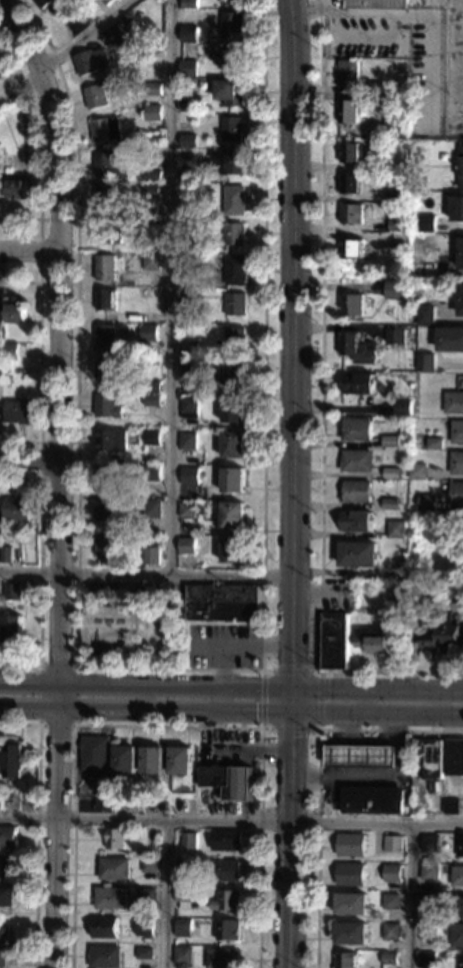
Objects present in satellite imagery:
building: (104, 1)
building: (188, 3)
building: (376, 4)
building: (56, 8)
road: (416, 12)
building: (83, 17)
building: (119, 23)
building: (233, 24)
building: (124, 28)
building: (113, 32)
building: (187, 33)
road: (383, 40)
building: (122, 42)
road: (62, 50)
building: (234, 56)
building: (90, 60)
building: (188, 68)
building: (1, 69)
building: (350, 74)
building: (0, 75)
building: (378, 87)
building: (153, 88)
building: (231, 92)
building: (95, 96)
parking lot: (426, 97)
building: (191, 105)
building: (395, 111)
building: (152, 112)
building: (350, 112)
building: (232, 128)
building: (105, 129)
building: (188, 140)
road: (39, 144)
building: (351, 152)
building: (228, 161)
building: (376, 162)
building: (108, 165)
building: (461, 167)
building: (153, 176)
building: (189, 176)
building: (351, 182)
building: (16, 188)
building: (151, 189)
building: (397, 194)
building: (106, 196)
building: (234, 200)
building: (401, 206)
building: (189, 207)
building: (458, 209)
building: (352, 213)
building: (396, 220)
building: (427, 223)
building: (189, 226)
building: (152, 227)
building: (108, 230)
building: (233, 234)
building: (352, 249)
road: (30, 251)
road: (40, 251)
building: (461, 253)
building: (151, 261)
building: (187, 261)
building: (105, 267)
building: (234, 270)
building: (184, 281)
road: (171, 288)
building: (393, 289)
building: (186, 297)
building: (105, 299)
building: (460, 300)
building: (234, 304)
building: (351, 304)
building: (15, 313)
building: (191, 314)
building: (424, 315)
building: (148, 332)
building: (394, 336)
building: (105, 337)
building: (235, 337)
building: (450, 339)
building: (355, 348)
building: (11, 349)
building: (0, 350)
building: (188, 350)
road: (293, 354)
road: (39, 361)
building: (425, 362)
building: (105, 368)
building: (188, 370)
building: (1, 373)
building: (233, 374)
building: (7, 379)
building: (358, 383)
building: (151, 386)
building: (152, 400)
building: (453, 402)
building: (106, 406)
building: (189, 407)
building: (402, 407)
road: (319, 408)
building: (233, 410)
building: (18, 411)
building: (356, 429)
building: (457, 431)
building: (151, 437)
building: (110, 440)
building: (187, 440)
building: (390, 441)
building: (434, 443)
building: (233, 445)
road: (29, 460)
road: (39, 460)
building: (356, 461)
building: (456, 462)
building: (417, 471)
building: (152, 472)
building: (391, 473)
building: (189, 476)
road: (59, 477)
building: (106, 477)
building: (233, 480)
building: (356, 491)
building: (456, 493)
building: (427, 503)
building: (390, 504)
building: (16, 508)
building: (199, 508)
building: (147, 509)
building: (107, 510)
building: (187, 510)
building: (233, 515)
building: (356, 521)
building: (396, 529)
building: (104, 544)
building: (187, 546)
building: (232, 550)
building: (5, 553)
building: (358, 554)
building: (151, 555)
building: (25, 561)
road: (40, 573)
road: (146, 575)
building: (12, 592)
building: (397, 599)
building: (223, 602)
building: (107, 626)
building: (12, 629)
building: (441, 635)
building: (371, 640)
building: (334, 641)
traffic signals: (292, 664)
road: (164, 668)
road: (145, 688)
traffic signals: (327, 691)
road: (377, 691)
road: (146, 705)
traffic signals: (255, 707)
road: (377, 711)
road: (74, 725)
road: (167, 726)
road: (342, 727)
road: (317, 729)
traffic signals: (292, 737)
building: (95, 753)
building: (362, 755)
road: (343, 756)
building: (454, 757)
building: (125, 759)
building: (430, 759)
building: (153, 760)
building: (180, 760)
building: (13, 762)
road: (344, 772)
road: (379, 775)
building: (215, 776)
road: (318, 776)
building: (373, 800)
building: (0, 805)
building: (450, 806)
road: (231, 821)
road: (36, 827)
building: (8, 836)
road: (290, 838)
building: (115, 839)
building: (188, 840)
building: (225, 841)
building: (392, 843)
building: (430, 843)
building: (351, 845)
building: (460, 846)
building: (148, 865)
building: (185, 866)
building: (7, 867)
building: (113, 868)
building: (226, 870)
building: (429, 871)
building: (392, 873)
building: (350, 874)
building: (457, 876)
road: (166, 894)
building: (6, 895)
road: (412, 895)
building: (110, 897)
building: (146, 897)
building: (183, 898)
building: (429, 899)
building: (228, 901)
building: (391, 901)
building: (352, 904)
building: (461, 907)
building: (144, 926)
building: (105, 927)
building: (183, 928)
building: (227, 930)
building: (391, 931)
building: (429, 931)
building: (351, 933)
building: (457, 935)
building: (3, 944)
building: (145, 953)
building: (183, 955)
building: (105, 956)
building: (222, 958)
building: (389, 958)
building: (426, 959)
building: (346, 960)
building: (461, 961)

